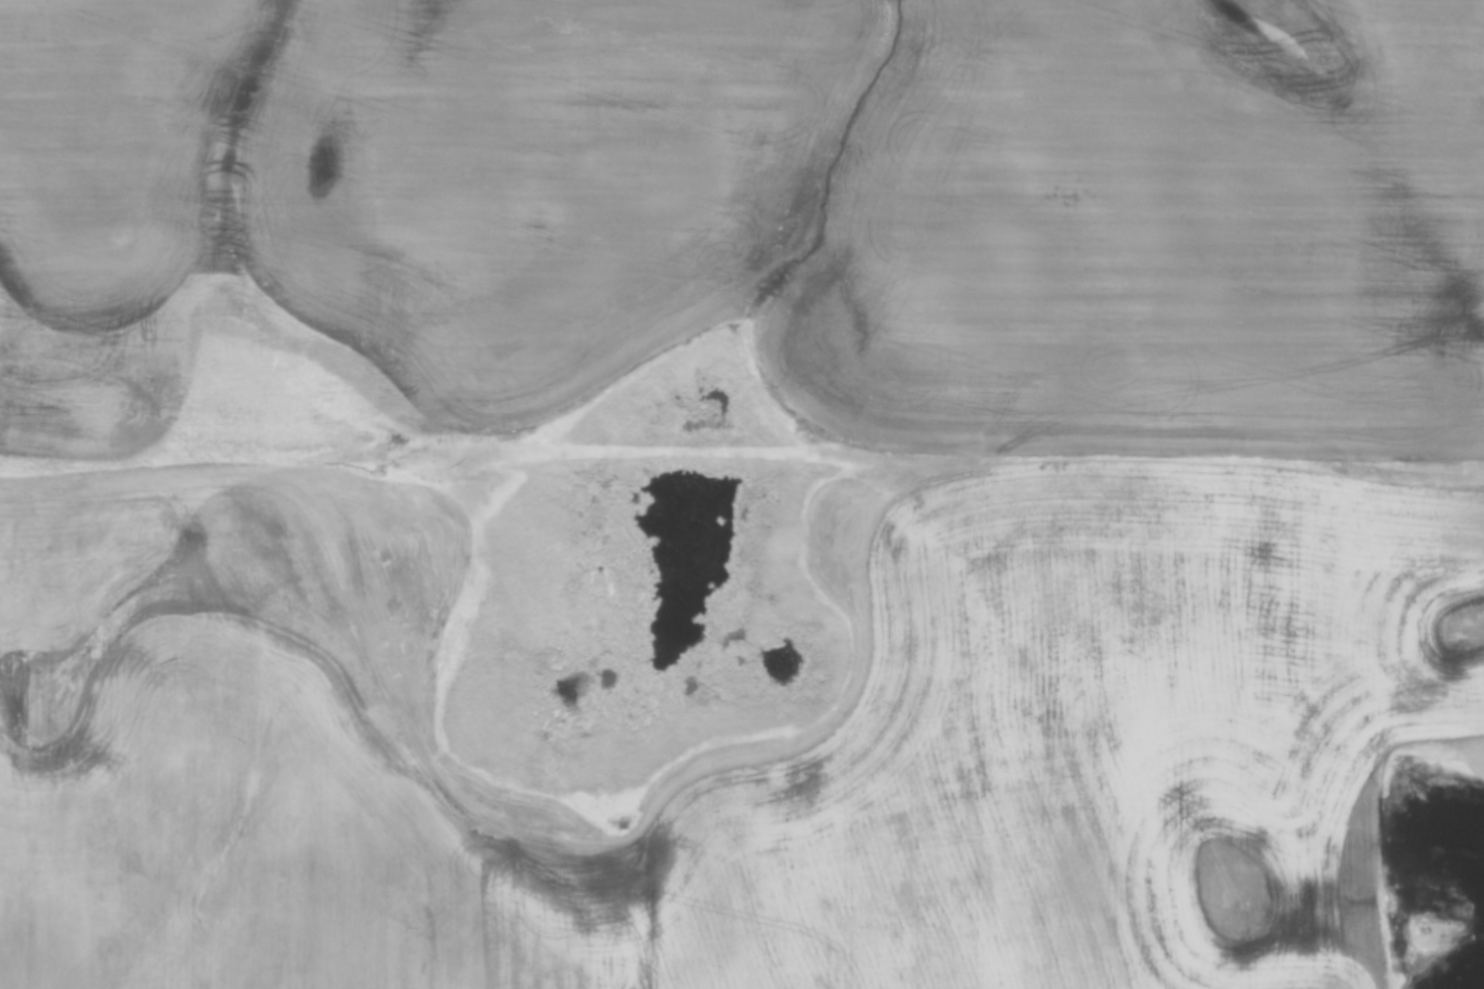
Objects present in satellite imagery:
road: (741, 475)
road: (419, 692)

